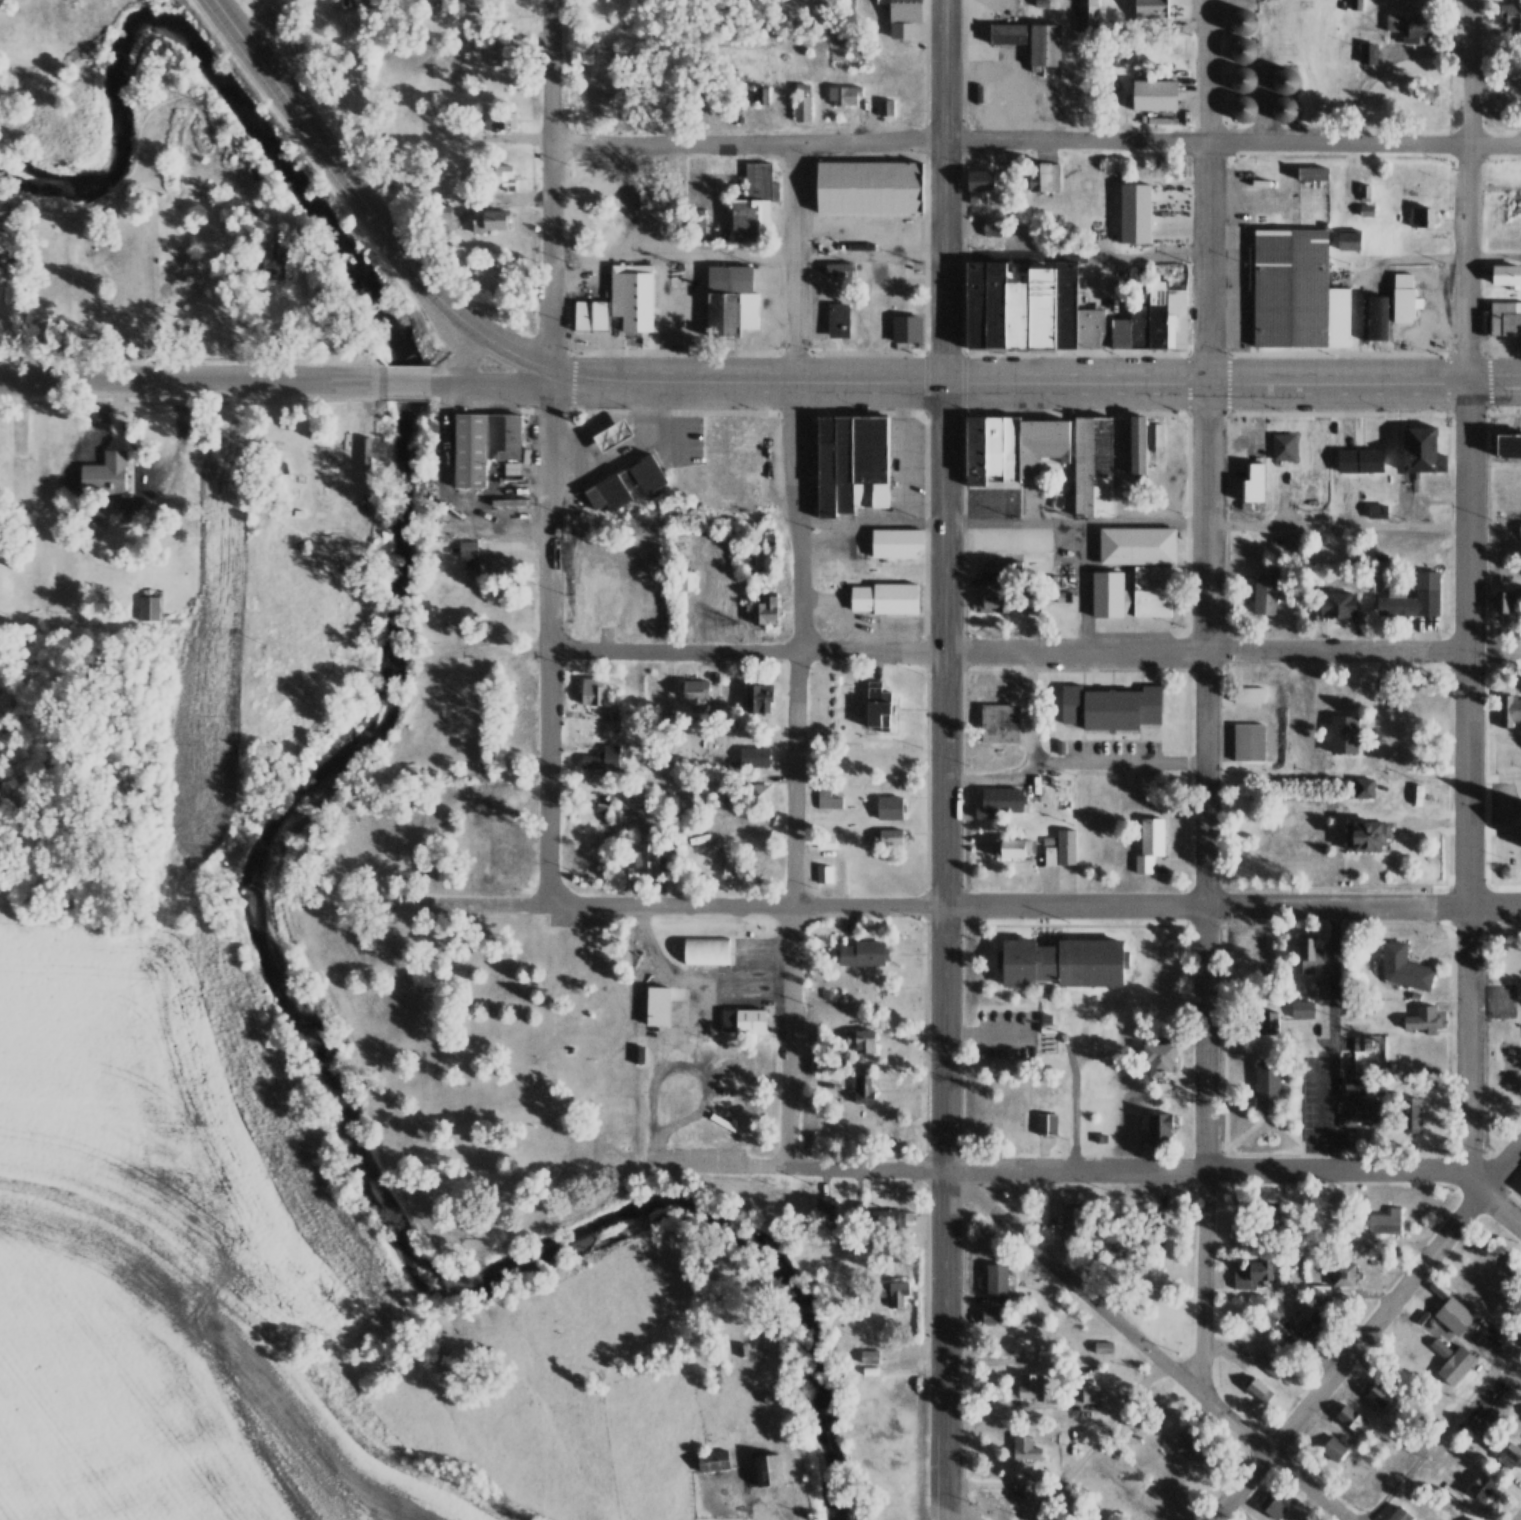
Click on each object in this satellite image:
building: (350, 3)
building: (507, 4)
building: (1355, 5)
building: (1151, 8)
building: (1088, 12)
building: (902, 16)
building: (1243, 20)
silo: (1243, 20)
building: (1509, 20)
building: (1412, 29)
building: (1007, 32)
building: (1045, 43)
building: (1241, 49)
silo: (1241, 49)
building: (1284, 53)
building: (1367, 54)
building: (501, 55)
building: (1243, 78)
silo: (1243, 78)
building: (1285, 79)
silo: (1285, 79)
building: (426, 83)
building: (765, 94)
building: (1153, 96)
building: (846, 97)
building: (802, 103)
building: (884, 107)
building: (1244, 107)
silo: (1244, 107)
building: (1285, 108)
silo: (1285, 108)
building: (497, 124)
road: (1036, 138)
building: (491, 172)
building: (1313, 173)
road: (926, 175)
road: (964, 175)
building: (1043, 175)
building: (982, 182)
road: (551, 184)
building: (868, 186)
road: (946, 191)
road: (1208, 192)
road: (1468, 192)
building: (657, 200)
building: (753, 200)
building: (1367, 201)
building: (1513, 202)
road: (365, 203)
building: (253, 211)
building: (1134, 211)
building: (1170, 213)
building: (1421, 217)
building: (488, 219)
building: (991, 227)
building: (1349, 240)
building: (273, 255)
road: (1002, 259)
road: (796, 262)
road: (1190, 268)
building: (839, 270)
building: (1506, 274)
building: (1296, 289)
building: (633, 296)
building: (731, 299)
building: (1405, 299)
building: (1028, 307)
building: (590, 315)
building: (1375, 316)
building: (1505, 317)
building: (839, 320)
building: (1152, 321)
building: (906, 328)
road: (1091, 351)
road: (750, 352)
road: (143, 355)
road: (1445, 355)
road: (1504, 355)
road: (463, 357)
road: (191, 380)
road: (406, 381)
road: (491, 382)
road: (878, 383)
road: (1364, 384)
road: (406, 396)
road: (194, 400)
road: (605, 410)
road: (1011, 411)
road: (1504, 417)
gas station: (611, 433)
building: (502, 435)
building: (1011, 445)
building: (1508, 446)
building: (1285, 447)
building: (467, 450)
building: (1422, 450)
road: (1447, 453)
building: (1109, 457)
building: (1361, 460)
building: (850, 461)
building: (649, 471)
building: (106, 476)
building: (1253, 483)
building: (610, 489)
road: (1487, 489)
building: (1377, 512)
road: (1133, 522)
building: (768, 538)
building: (1292, 539)
building: (894, 542)
building: (1138, 546)
building: (659, 554)
building: (482, 560)
building: (1003, 572)
building: (685, 579)
building: (1266, 590)
building: (600, 593)
building: (1130, 594)
building: (1414, 596)
building: (885, 597)
building: (1508, 600)
building: (1009, 602)
building: (1336, 602)
building: (148, 608)
building: (763, 610)
road: (550, 636)
road: (1470, 643)
road: (1232, 648)
road: (747, 649)
road: (1225, 649)
road: (1188, 668)
road: (1074, 670)
building: (696, 689)
building: (596, 691)
building: (1250, 695)
building: (759, 696)
building: (877, 707)
building: (1111, 708)
building: (1509, 710)
building: (479, 712)
building: (1000, 724)
building: (1345, 733)
building: (1250, 743)
building: (755, 757)
building: (600, 760)
building: (893, 770)
road: (795, 774)
road: (1451, 775)
building: (1364, 786)
building: (757, 794)
building: (830, 800)
building: (1000, 802)
road: (1486, 804)
river: (291, 807)
building: (891, 809)
road: (1516, 830)
road: (1506, 831)
building: (1366, 832)
building: (887, 837)
building: (1013, 847)
building: (1152, 847)
building: (1063, 849)
building: (509, 850)
building: (648, 852)
building: (825, 874)
road: (926, 883)
road: (1334, 884)
road: (1207, 885)
road: (1502, 888)
road: (930, 904)
road: (1494, 904)
road: (1224, 924)
road: (962, 935)
building: (705, 949)
road: (945, 952)
building: (863, 953)
building: (1307, 955)
building: (1061, 959)
building: (1405, 968)
road: (1038, 987)
building: (1323, 992)
park: (1502, 1000)
building: (658, 1005)
road: (1019, 1009)
building: (1301, 1009)
building: (742, 1017)
building: (1422, 1019)
building: (1269, 1022)
building: (1046, 1024)
building: (863, 1040)
road: (1468, 1047)
building: (638, 1053)
park: (475, 1055)
building: (1156, 1056)
building: (826, 1061)
road: (698, 1072)
building: (1420, 1076)
building: (1353, 1081)
building: (1266, 1083)
building: (863, 1087)
road: (1448, 1089)
road: (1224, 1090)
road: (1333, 1109)
building: (1362, 1110)
building: (1409, 1112)
road: (1265, 1116)
road: (1291, 1118)
building: (1046, 1124)
building: (1158, 1125)
road: (929, 1167)
road: (1479, 1167)
road: (1373, 1168)
road: (1513, 1177)
building: (1519, 1185)
building: (1520, 1191)
building: (821, 1205)
building: (877, 1216)
building: (1073, 1217)
building: (1156, 1220)
building: (1388, 1222)
building: (1514, 1268)
building: (1342, 1271)
building: (1252, 1272)
building: (1001, 1284)
building: (891, 1292)
building: (1270, 1313)
building: (1452, 1313)
building: (989, 1314)
building: (1311, 1325)
road: (1366, 1330)
road: (1146, 1344)
building: (1100, 1346)
building: (746, 1347)
building: (867, 1354)
building: (1451, 1359)
building: (1273, 1367)
building: (1029, 1385)
building: (1256, 1387)
building: (1089, 1392)
building: (1151, 1392)
building: (1379, 1393)
building: (767, 1395)
building: (1488, 1413)
building: (1350, 1418)
road: (1444, 1427)
building: (1191, 1444)
building: (1024, 1447)
building: (1334, 1447)
building: (1507, 1450)
building: (712, 1459)
building: (766, 1467)
building: (1481, 1485)
building: (1022, 1489)
building: (1068, 1493)
building: (1272, 1502)
road: (960, 1507)
building: (1400, 1514)
building: (1470, 1518)
road: (1519, 1518)

